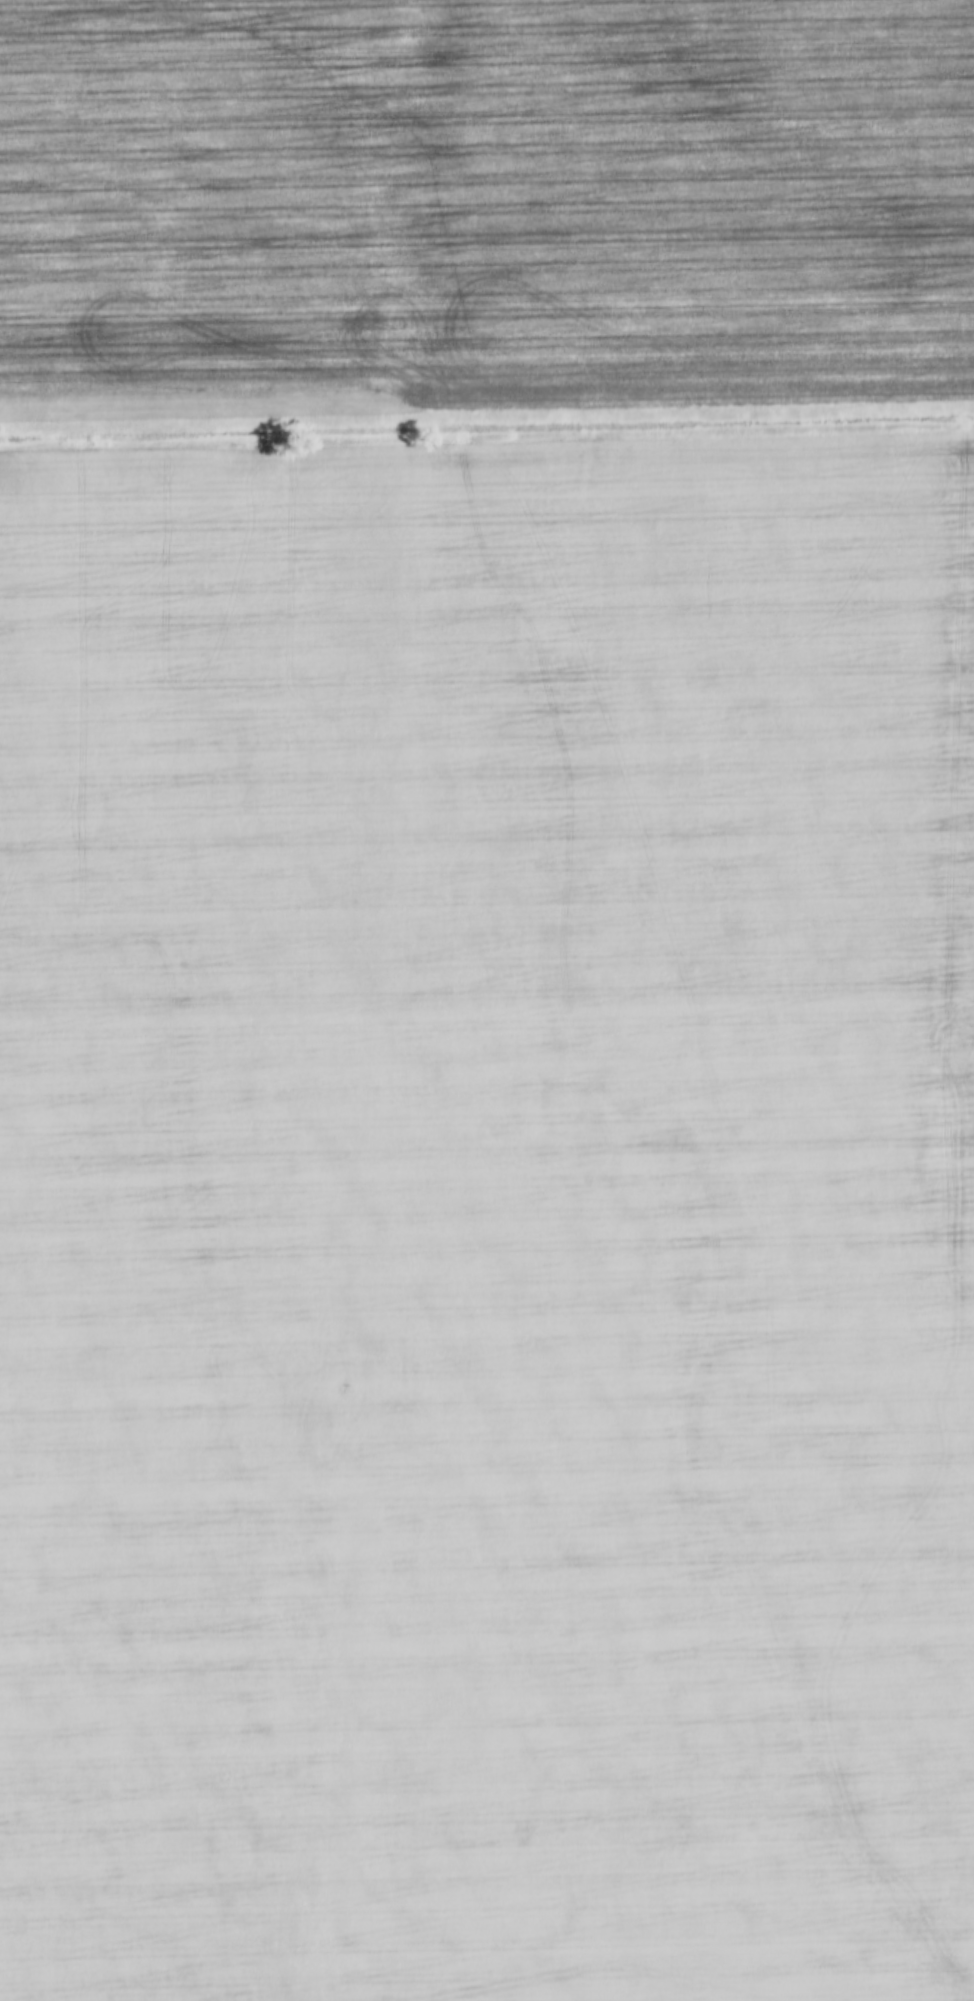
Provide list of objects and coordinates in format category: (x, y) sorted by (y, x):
crop: (489, 197)
road: (487, 406)
crop: (487, 912)
crop: (166, 1689)
crop: (653, 1691)

